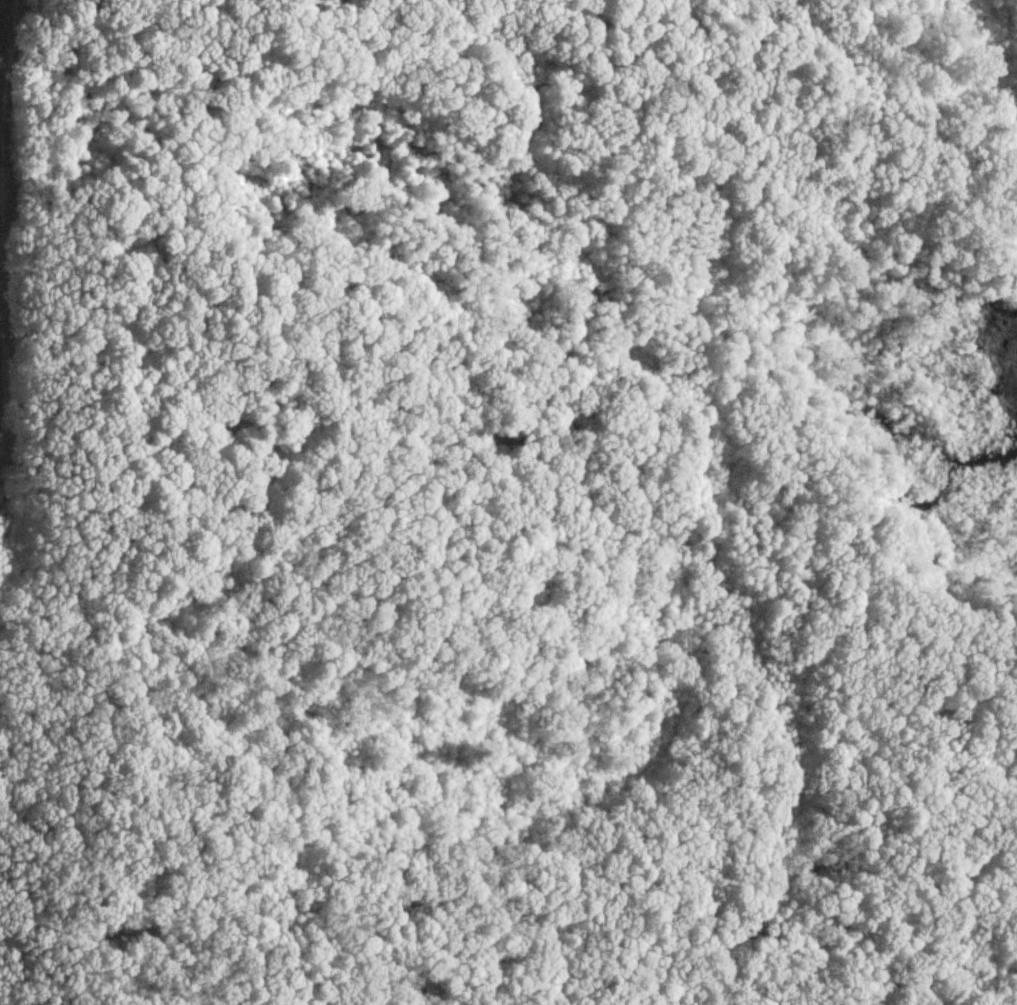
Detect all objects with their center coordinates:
road: (1013, 164)

